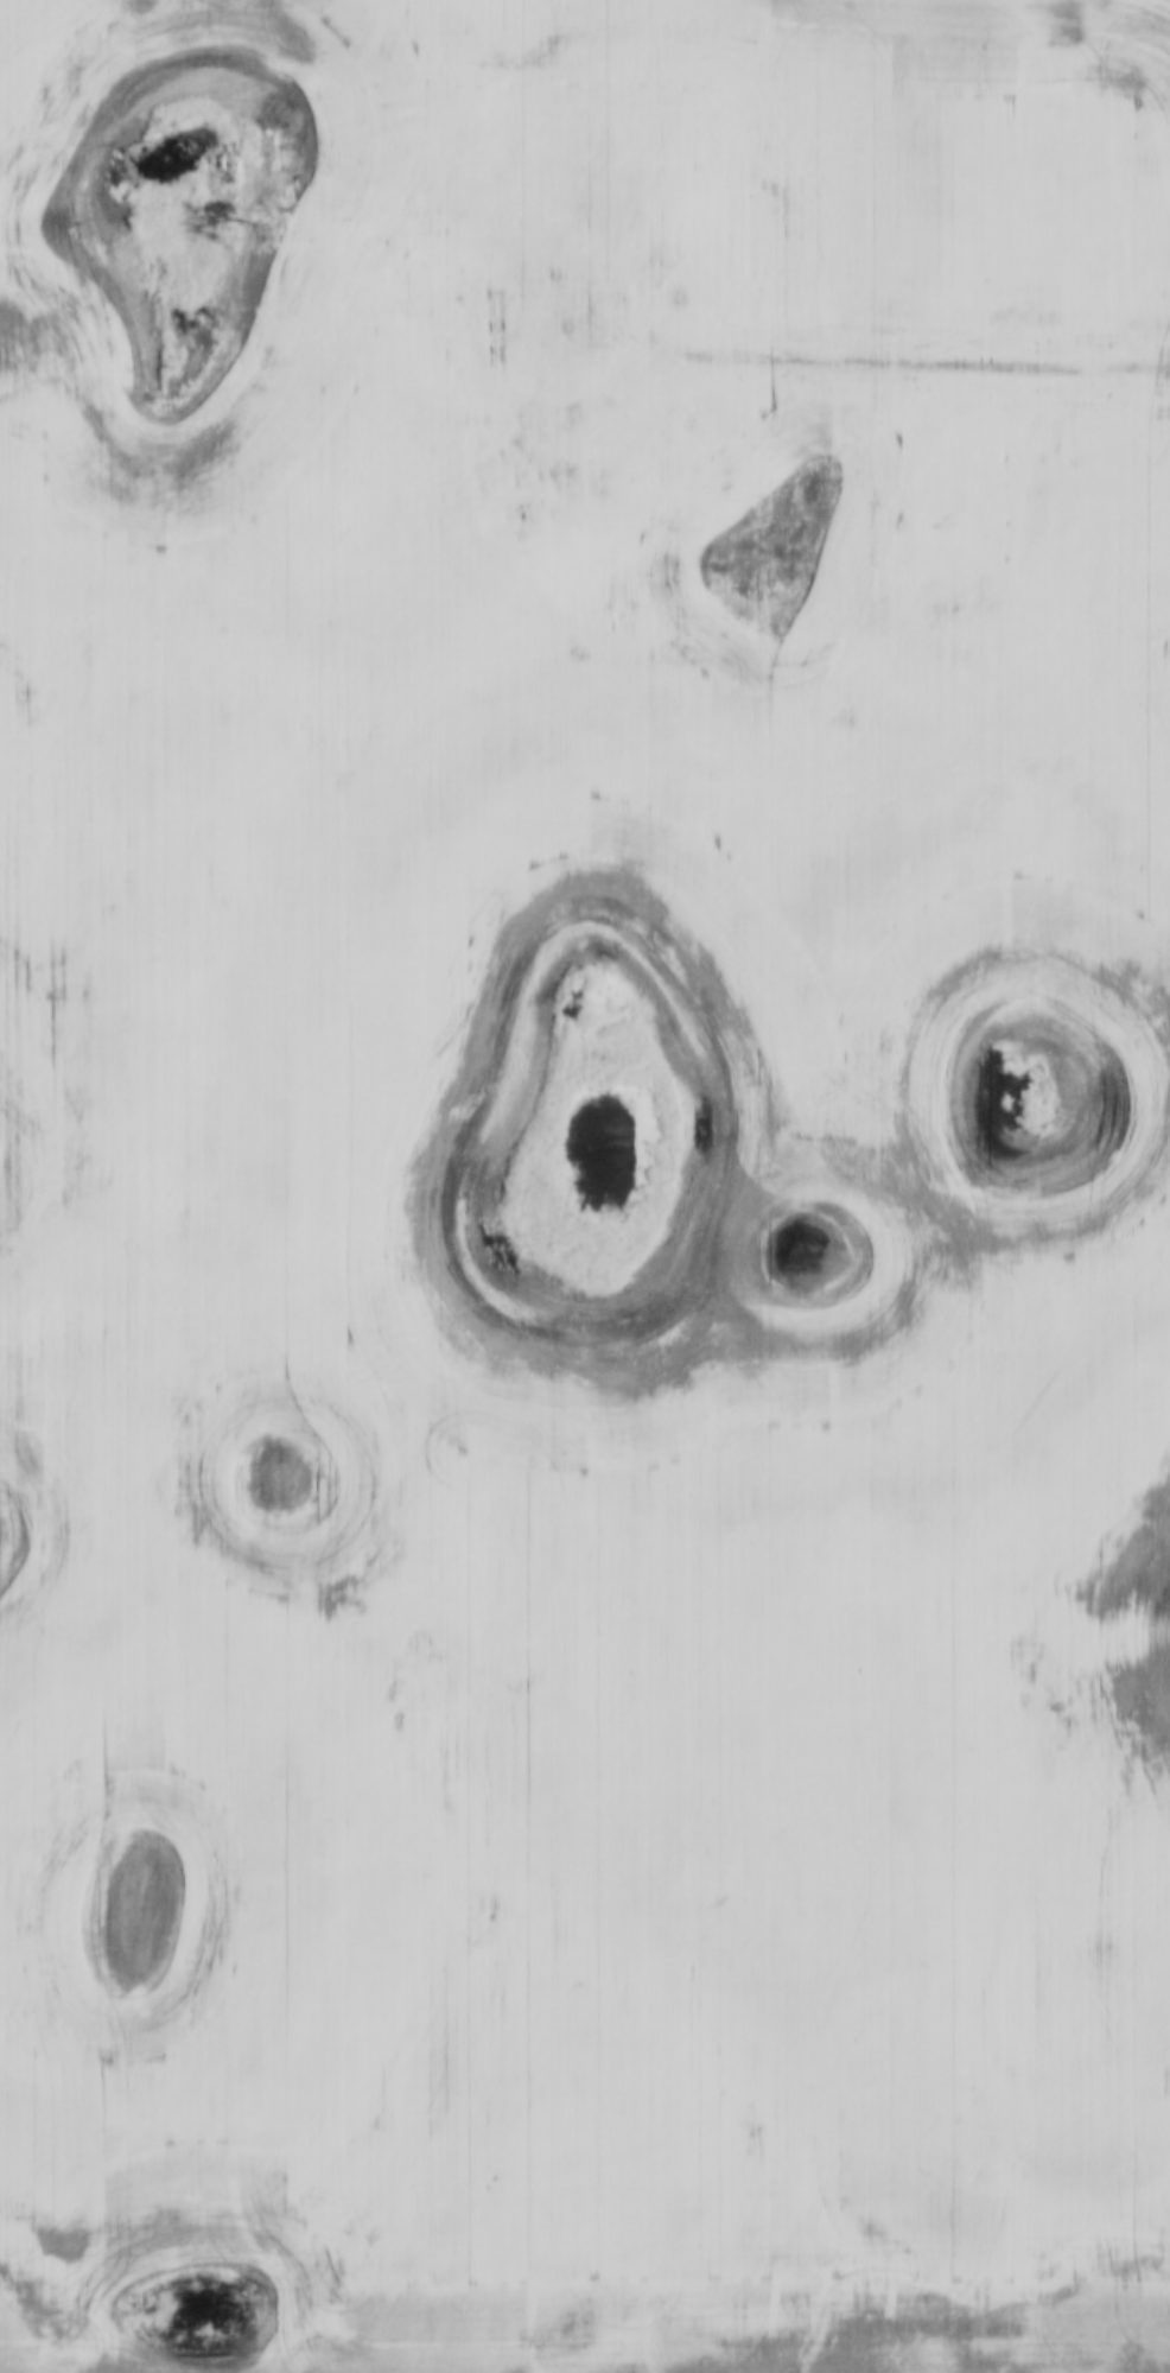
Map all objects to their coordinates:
building: (605, 298)
building: (654, 299)
building: (586, 331)
road: (894, 354)
building: (483, 453)

